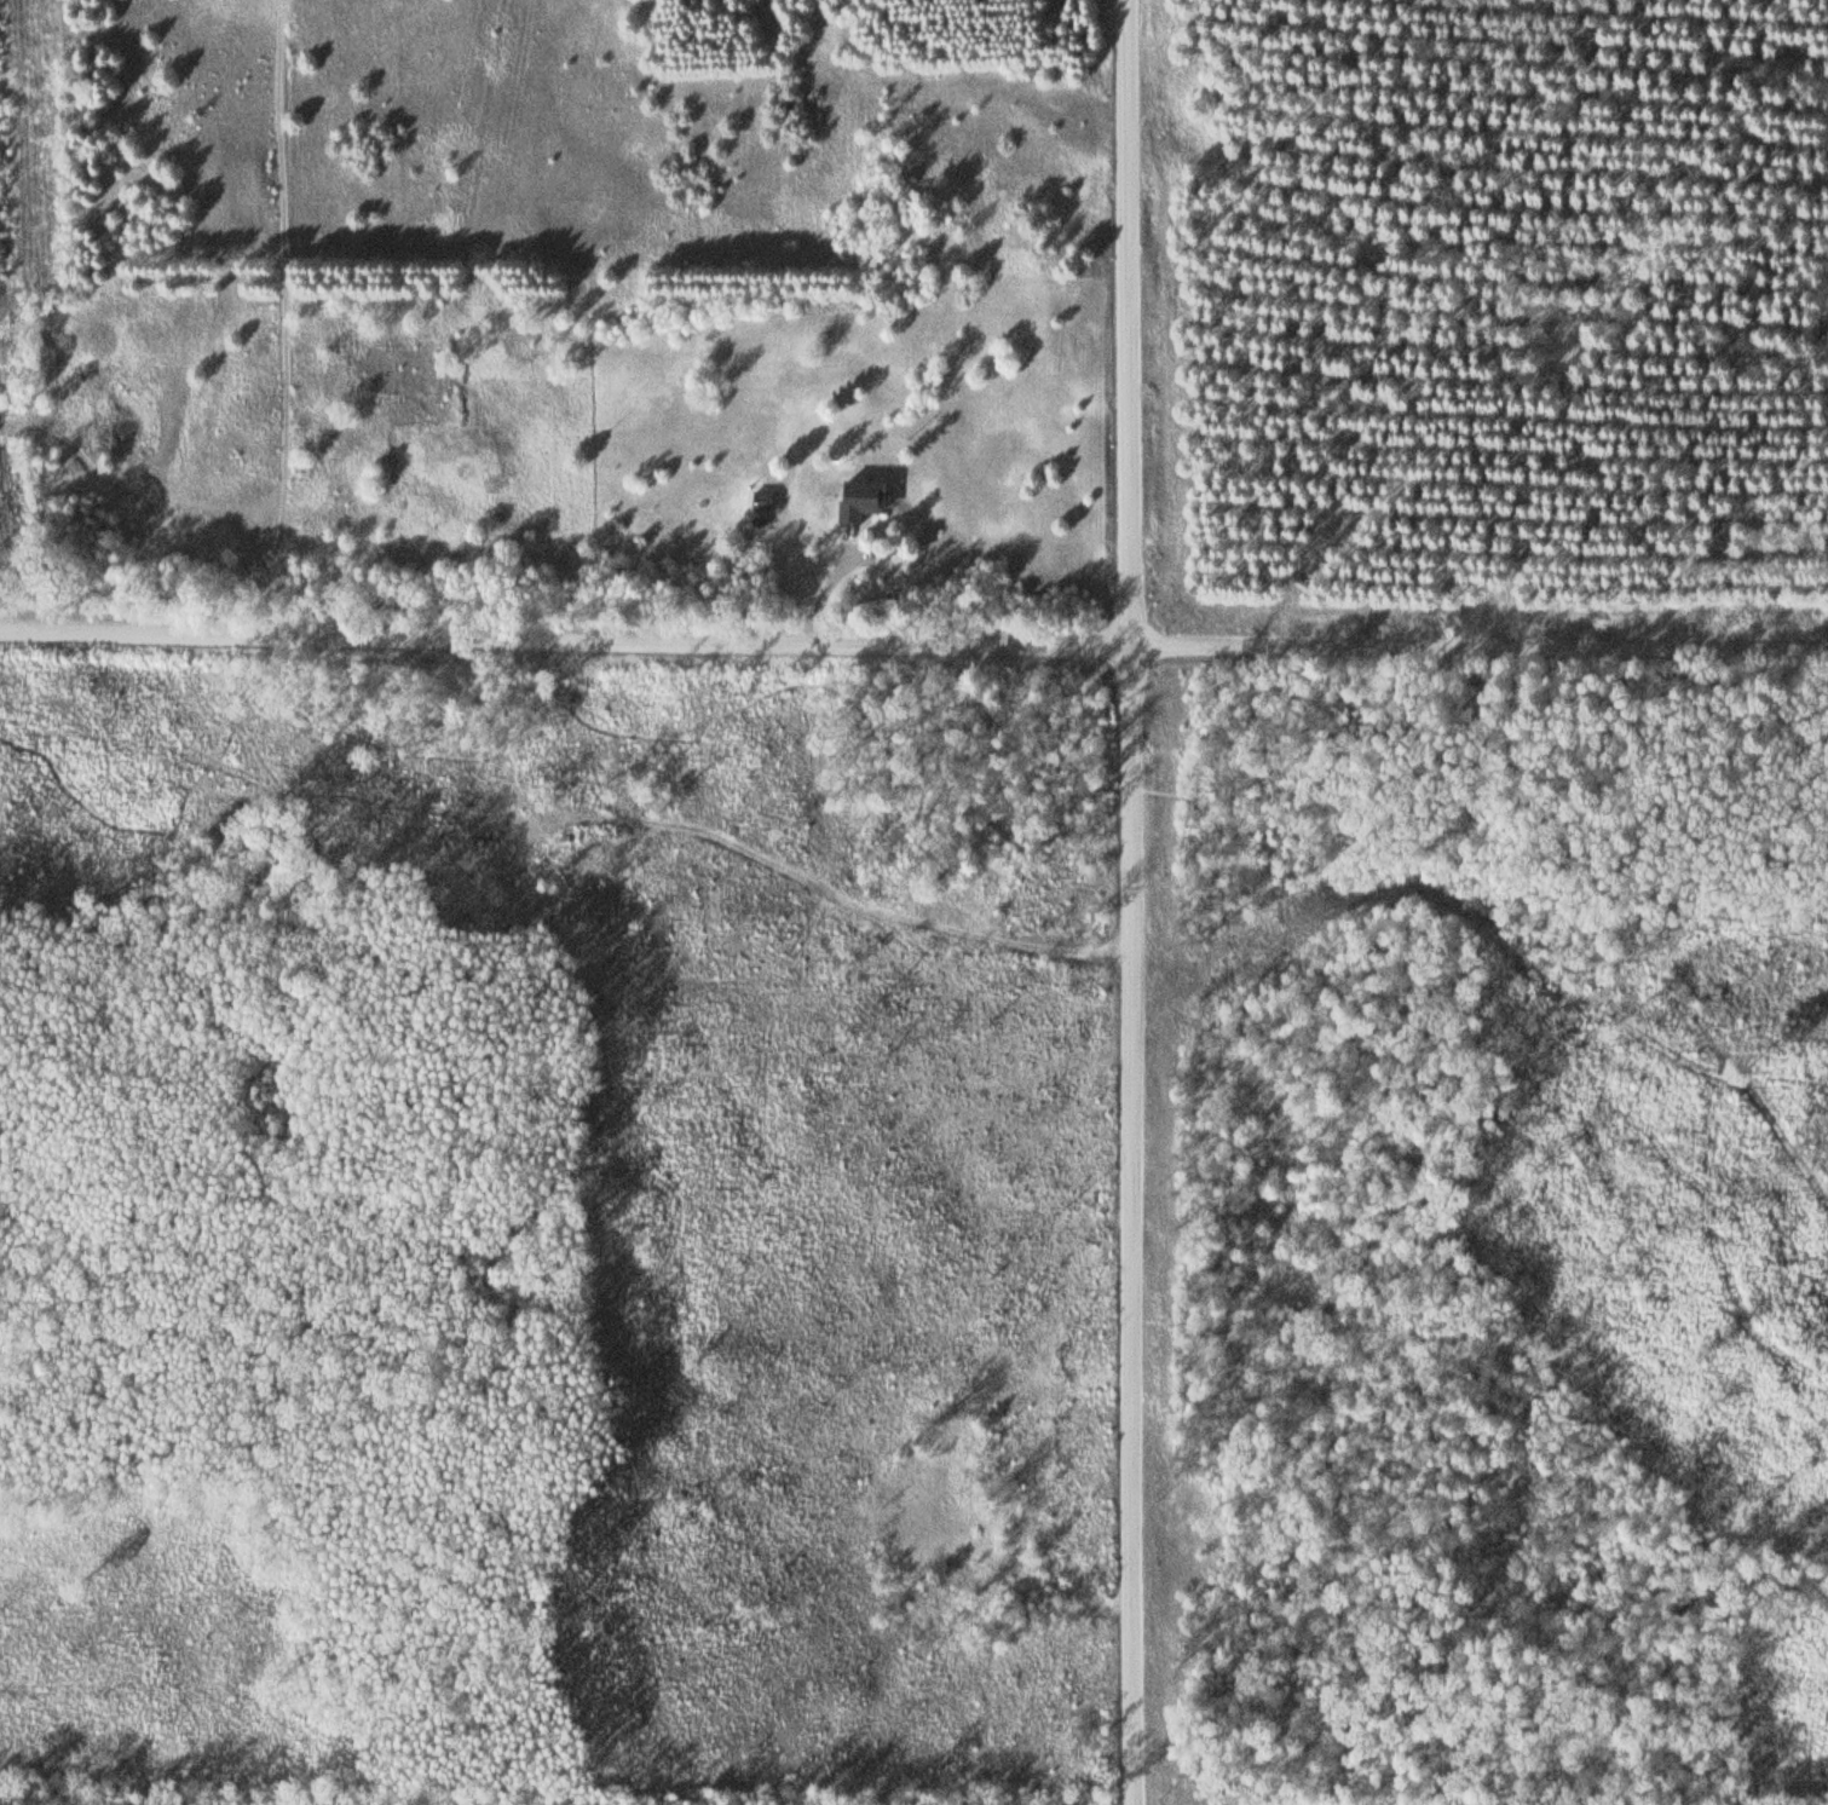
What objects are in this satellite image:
building: (866, 501)
road: (913, 639)
road: (922, 843)
road: (1137, 901)
road: (1613, 944)

